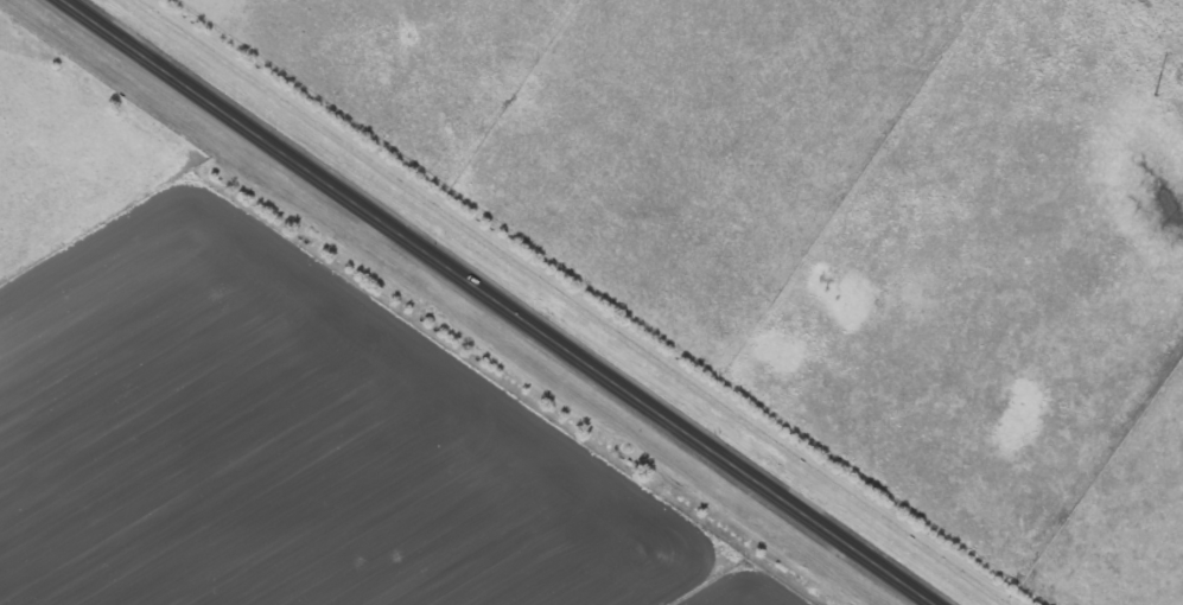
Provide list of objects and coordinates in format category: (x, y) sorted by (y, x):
power tower: (1153, 95)
road: (504, 302)

